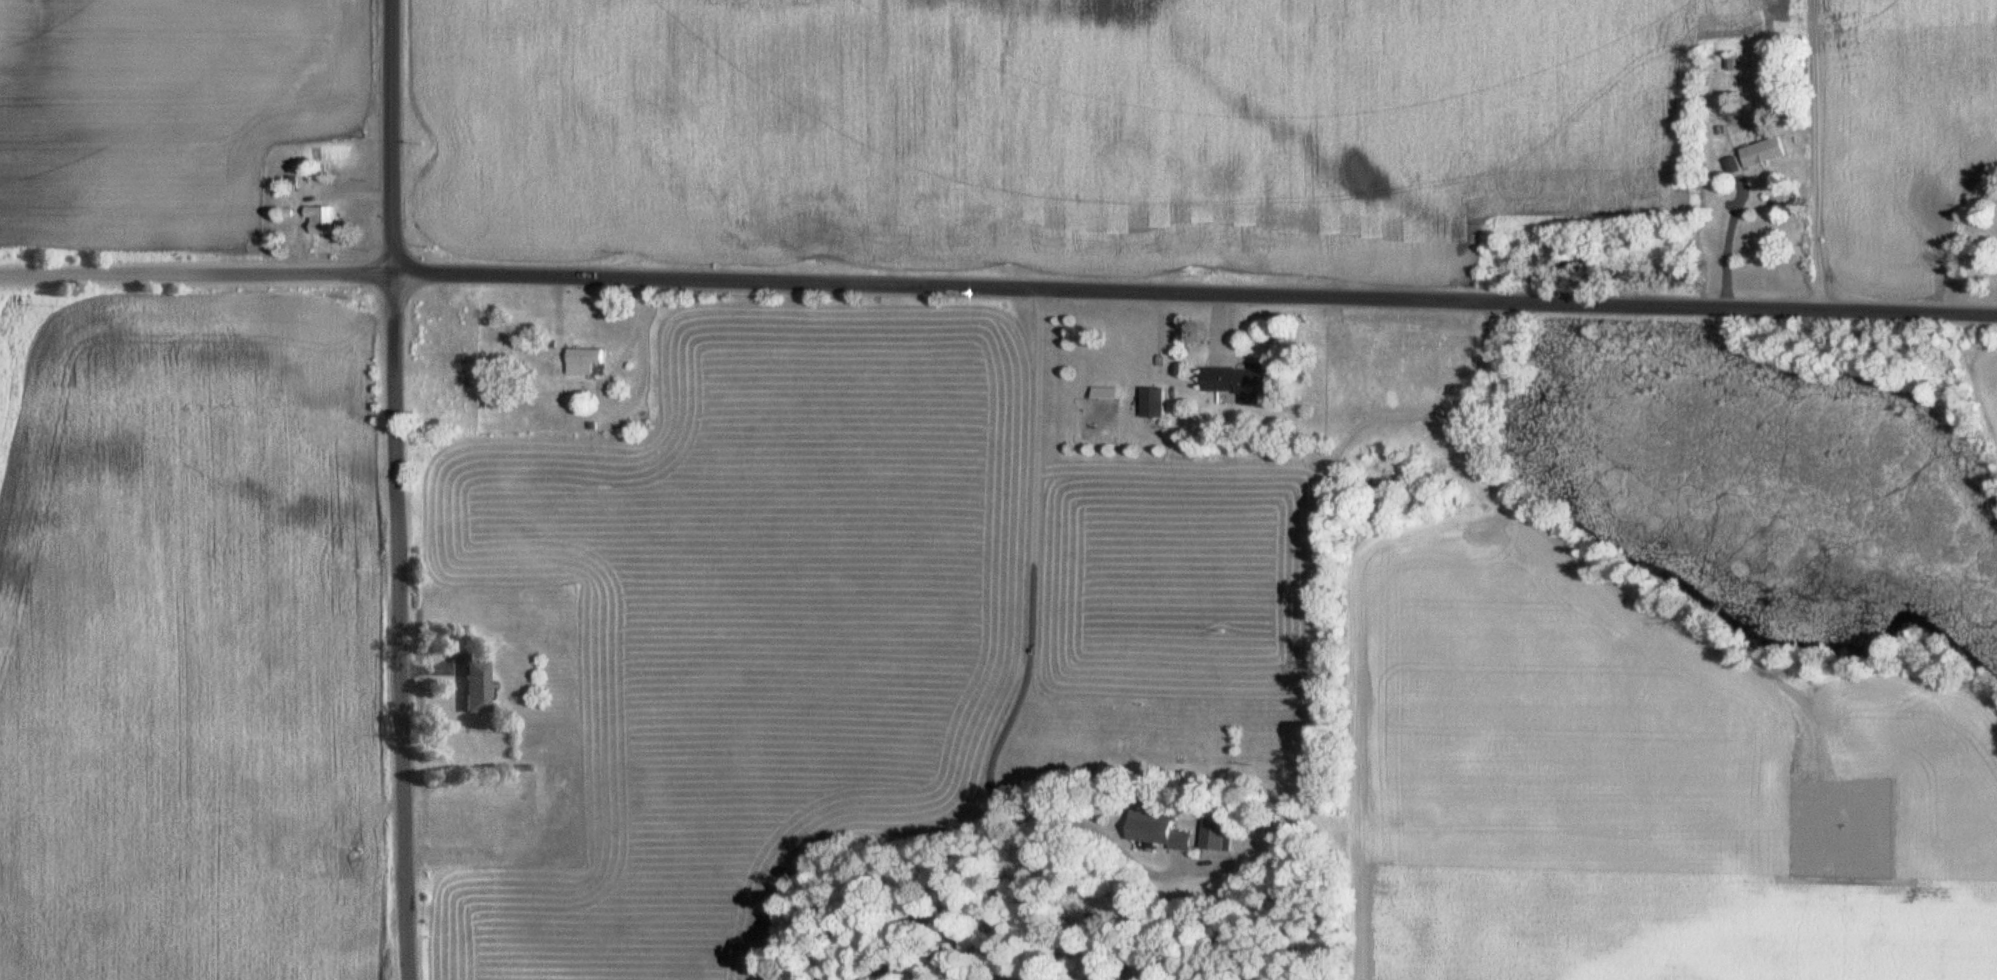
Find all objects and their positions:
road: (392, 137)
building: (1763, 153)
road: (1814, 153)
road: (308, 194)
building: (322, 220)
road: (198, 274)
road: (1196, 291)
building: (584, 362)
building: (1237, 381)
building: (1152, 403)
road: (404, 628)
building: (477, 687)
building: (1157, 830)
building: (1218, 835)
road: (1199, 870)

